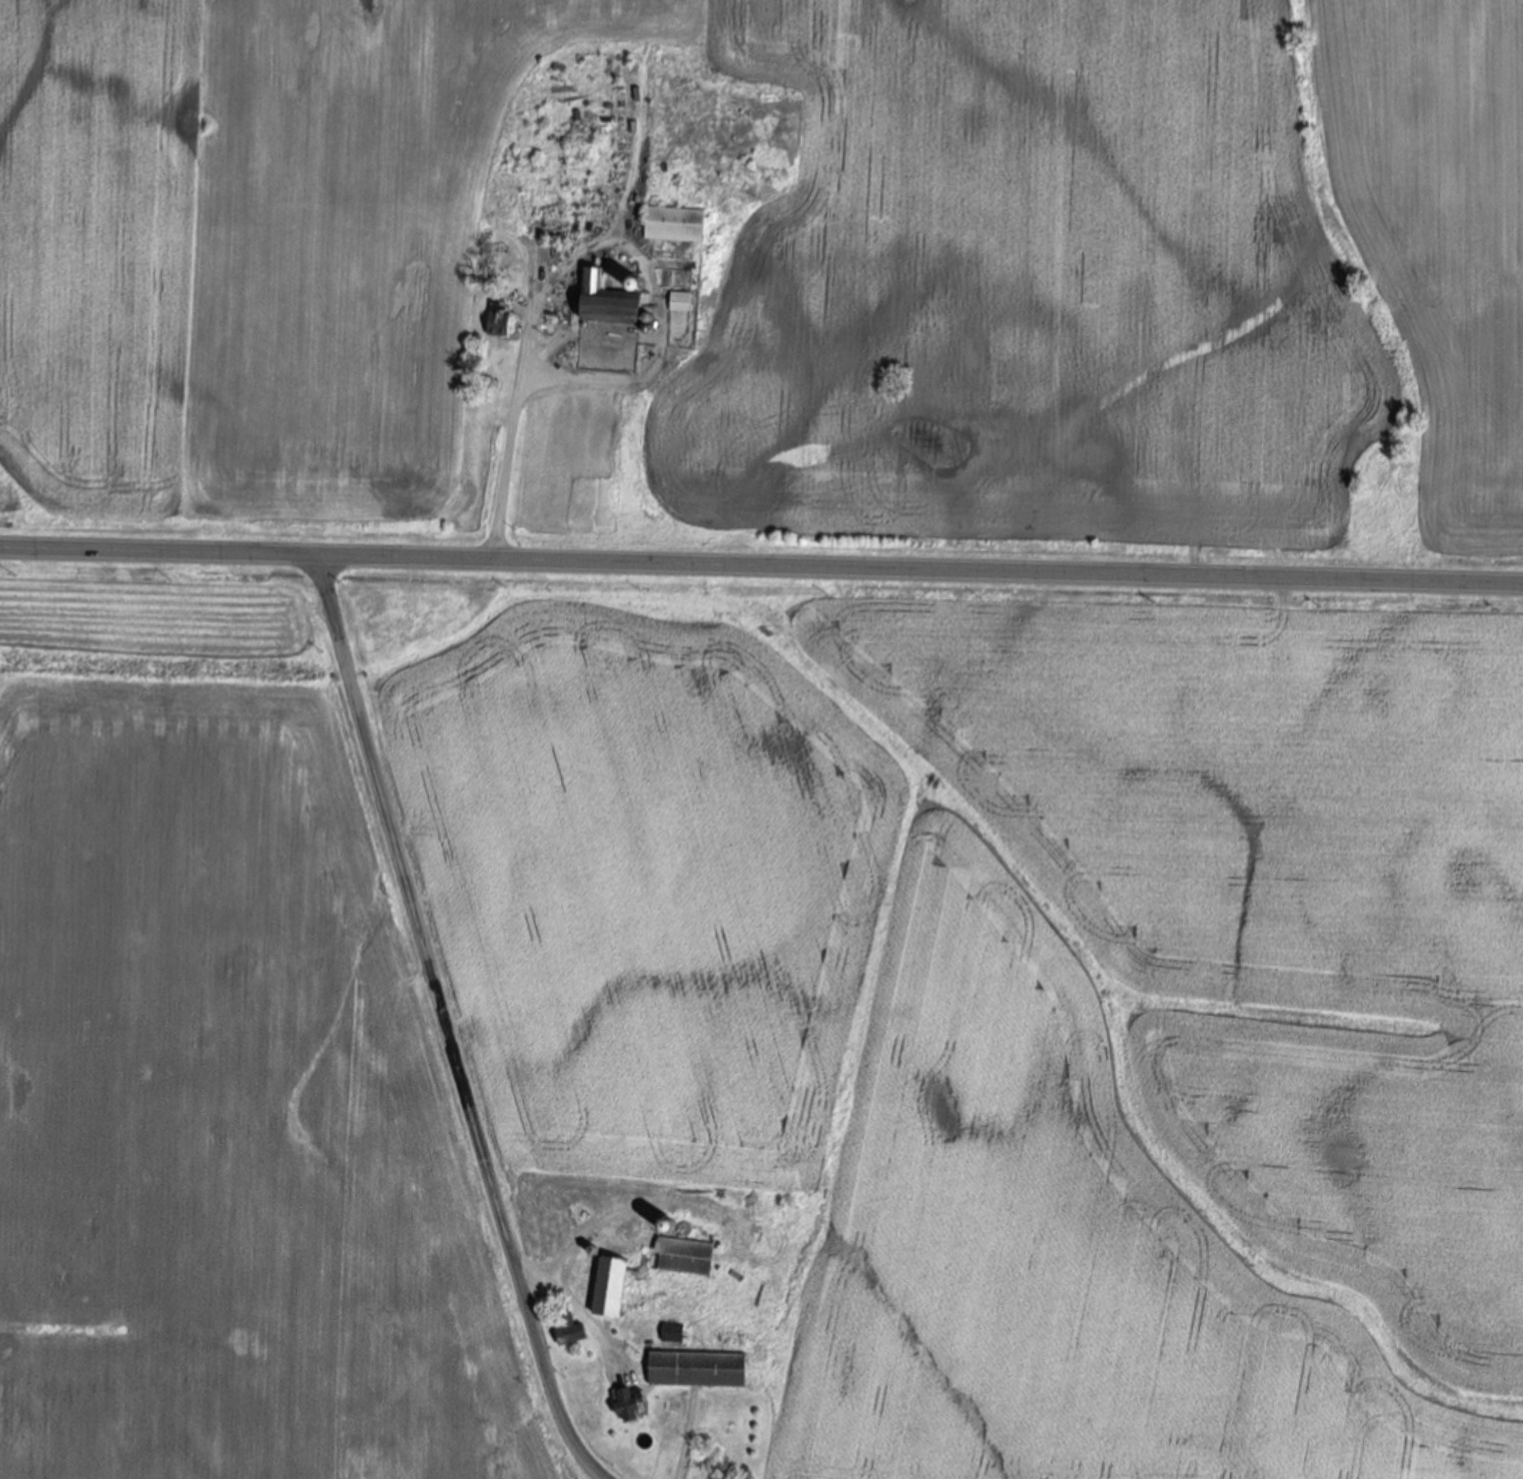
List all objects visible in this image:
building: (673, 225)
building: (604, 303)
building: (679, 303)
building: (500, 321)
road: (511, 442)
road: (761, 568)
road: (446, 1025)
building: (681, 1258)
building: (608, 1288)
road: (573, 1308)
building: (567, 1332)
building: (670, 1334)
building: (696, 1371)
building: (626, 1406)

